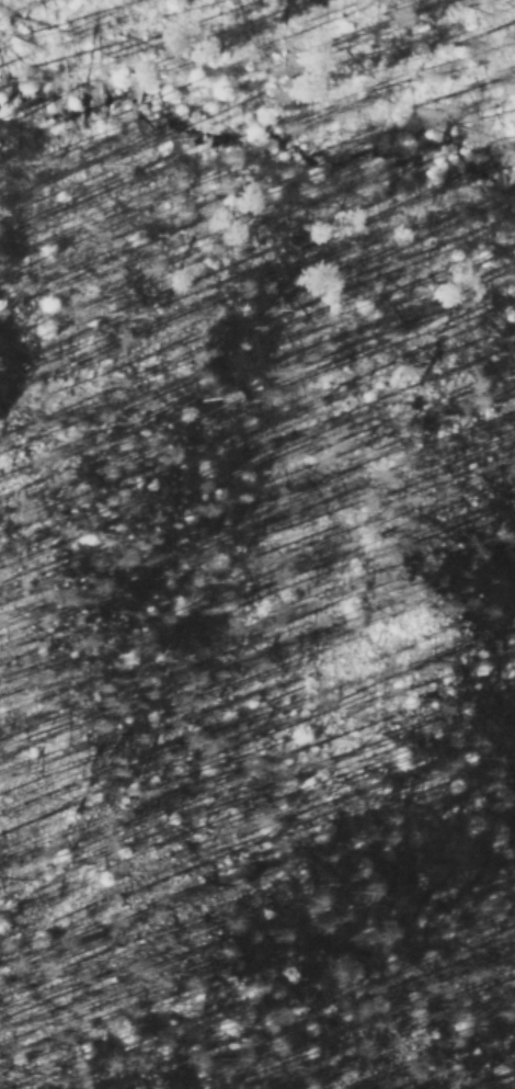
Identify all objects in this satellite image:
road: (376, 803)

